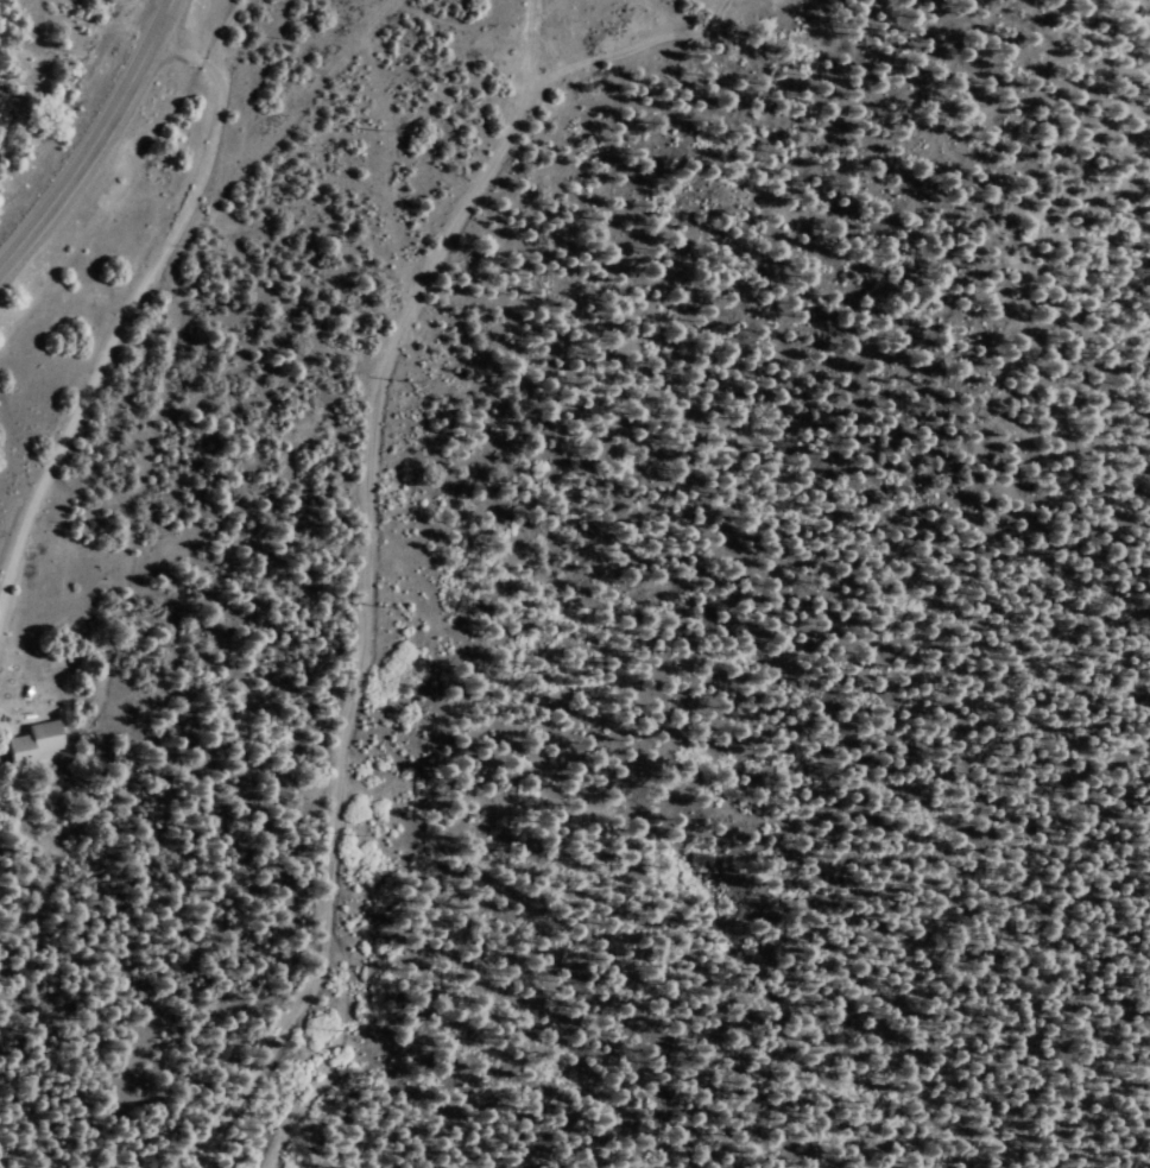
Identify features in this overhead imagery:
road: (210, 58)
road: (94, 138)
road: (20, 214)
road: (116, 317)
road: (429, 612)
building: (34, 741)

